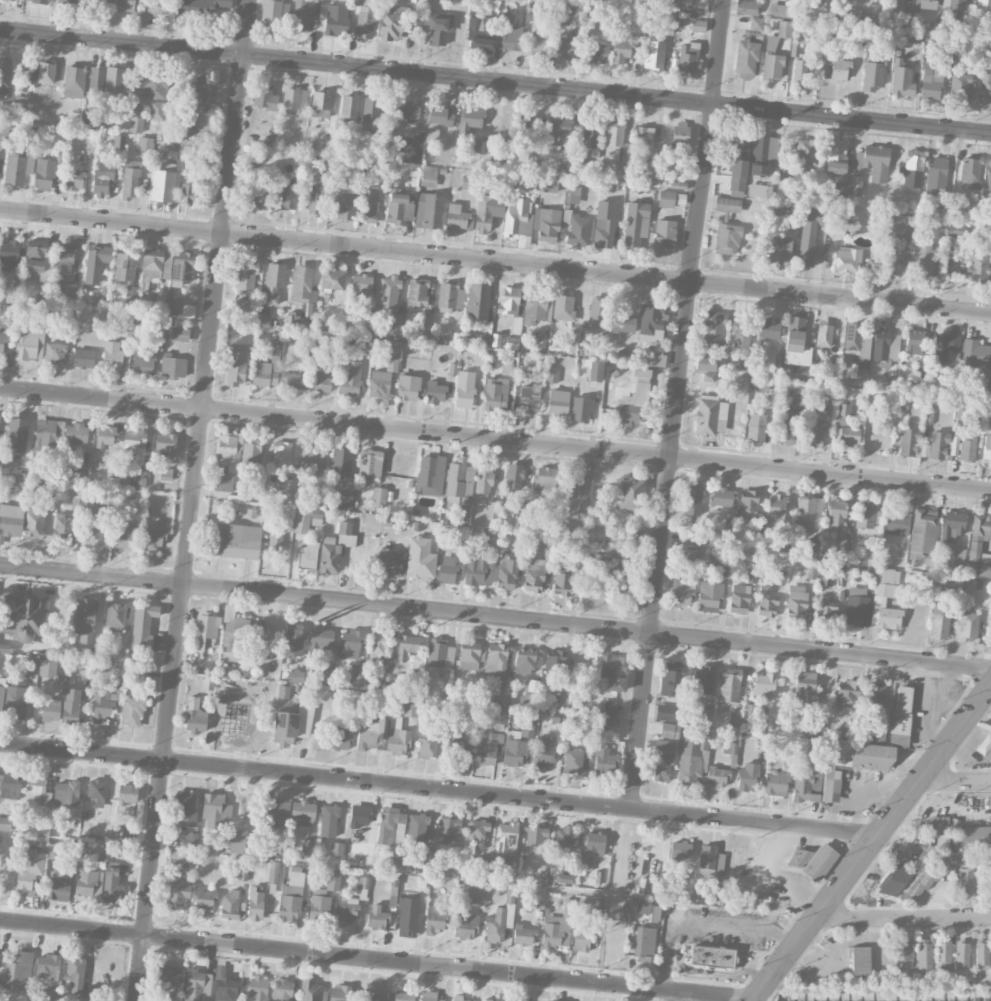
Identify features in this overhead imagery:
building: (13, 0)
building: (140, 0)
building: (37, 1)
building: (100, 1)
building: (670, 1)
building: (67, 2)
building: (984, 3)
building: (926, 4)
building: (125, 5)
building: (158, 6)
building: (204, 7)
building: (746, 7)
building: (778, 10)
building: (273, 12)
building: (951, 15)
building: (301, 16)
building: (904, 17)
building: (859, 18)
building: (365, 19)
building: (336, 20)
building: (667, 21)
building: (756, 23)
building: (698, 25)
building: (391, 26)
building: (438, 26)
building: (784, 29)
building: (480, 34)
building: (509, 34)
building: (856, 37)
building: (538, 44)
building: (566, 47)
building: (622, 49)
building: (597, 52)
building: (654, 53)
building: (688, 57)
building: (746, 59)
building: (772, 60)
building: (840, 69)
building: (799, 70)
building: (46, 73)
building: (872, 76)
building: (96, 79)
building: (114, 79)
building: (901, 79)
building: (931, 79)
building: (6, 80)
building: (74, 82)
road: (495, 82)
building: (959, 86)
building: (984, 86)
building: (154, 87)
building: (197, 96)
building: (264, 97)
building: (321, 104)
building: (349, 108)
building: (157, 110)
building: (407, 110)
building: (370, 113)
building: (471, 118)
building: (136, 119)
building: (438, 119)
building: (527, 123)
building: (557, 128)
building: (679, 135)
building: (591, 136)
building: (644, 136)
building: (613, 141)
building: (118, 142)
building: (145, 144)
building: (483, 152)
building: (763, 154)
building: (805, 154)
building: (835, 157)
building: (911, 160)
building: (876, 162)
building: (738, 164)
building: (936, 166)
building: (18, 168)
building: (970, 173)
building: (44, 174)
building: (988, 174)
building: (428, 176)
building: (73, 179)
building: (130, 179)
building: (102, 180)
building: (165, 184)
building: (856, 186)
building: (468, 187)
building: (759, 190)
building: (188, 194)
building: (838, 194)
building: (288, 195)
building: (670, 198)
building: (316, 199)
building: (253, 200)
building: (369, 203)
building: (727, 204)
building: (346, 206)
building: (400, 208)
building: (429, 210)
building: (487, 211)
building: (518, 217)
building: (457, 218)
building: (990, 218)
building: (635, 223)
building: (546, 224)
building: (841, 227)
building: (603, 229)
building: (957, 229)
building: (577, 231)
building: (664, 233)
building: (808, 234)
building: (900, 234)
building: (727, 239)
building: (524, 241)
building: (989, 244)
building: (779, 250)
building: (9, 253)
building: (35, 256)
building: (63, 259)
building: (846, 259)
building: (923, 259)
building: (95, 262)
road: (495, 262)
building: (889, 263)
building: (156, 265)
building: (182, 266)
building: (125, 268)
building: (977, 269)
building: (246, 275)
building: (332, 279)
building: (274, 282)
building: (301, 283)
building: (44, 284)
building: (360, 284)
building: (71, 290)
building: (388, 292)
building: (416, 295)
building: (450, 297)
building: (477, 301)
building: (509, 302)
building: (311, 303)
building: (171, 304)
building: (241, 305)
building: (563, 307)
building: (534, 308)
building: (597, 312)
building: (263, 318)
building: (425, 320)
building: (65, 321)
building: (651, 321)
building: (622, 322)
building: (395, 324)
building: (713, 328)
building: (768, 328)
building: (741, 332)
building: (180, 334)
building: (824, 334)
building: (475, 340)
building: (2, 342)
building: (541, 342)
building: (796, 342)
building: (914, 342)
building: (511, 343)
building: (29, 344)
building: (885, 344)
building: (858, 347)
building: (944, 347)
building: (55, 353)
building: (975, 354)
building: (624, 355)
building: (112, 356)
building: (83, 358)
building: (647, 358)
building: (143, 362)
building: (774, 362)
building: (705, 363)
building: (236, 364)
building: (172, 365)
building: (267, 367)
building: (507, 367)
building: (452, 369)
building: (595, 371)
building: (384, 373)
building: (796, 373)
building: (552, 375)
building: (707, 376)
building: (350, 379)
building: (293, 381)
building: (321, 381)
building: (408, 387)
building: (464, 389)
building: (435, 392)
building: (495, 392)
building: (529, 399)
building: (798, 399)
building: (633, 400)
building: (558, 401)
road: (678, 404)
building: (580, 409)
building: (843, 414)
building: (710, 415)
building: (756, 427)
building: (785, 427)
building: (17, 431)
building: (46, 434)
building: (74, 435)
building: (813, 435)
building: (105, 436)
building: (848, 436)
road: (495, 440)
building: (134, 442)
building: (908, 442)
building: (164, 444)
building: (938, 445)
building: (954, 445)
building: (967, 449)
building: (987, 449)
building: (251, 450)
building: (924, 450)
building: (312, 459)
building: (341, 460)
building: (370, 462)
building: (283, 466)
building: (81, 471)
building: (430, 475)
building: (514, 476)
building: (140, 478)
building: (124, 480)
building: (545, 480)
building: (483, 481)
building: (459, 484)
building: (574, 485)
building: (631, 493)
building: (378, 497)
building: (721, 497)
building: (317, 498)
building: (693, 499)
road: (194, 500)
building: (344, 501)
building: (747, 505)
building: (808, 512)
building: (491, 513)
building: (867, 514)
building: (836, 515)
building: (306, 520)
building: (10, 521)
building: (759, 522)
building: (34, 523)
building: (93, 523)
building: (896, 523)
building: (729, 526)
building: (952, 526)
building: (980, 527)
building: (62, 528)
building: (922, 532)
building: (345, 534)
building: (123, 536)
building: (153, 539)
building: (236, 540)
building: (489, 540)
building: (690, 540)
building: (275, 541)
building: (783, 546)
building: (975, 546)
building: (841, 547)
building: (809, 550)
building: (689, 555)
building: (329, 556)
building: (306, 557)
building: (420, 558)
building: (958, 558)
building: (391, 562)
building: (929, 564)
building: (983, 565)
building: (474, 567)
building: (447, 569)
building: (721, 571)
building: (811, 572)
building: (506, 573)
building: (779, 575)
building: (533, 576)
building: (751, 576)
building: (562, 580)
building: (952, 584)
building: (681, 592)
building: (624, 593)
building: (709, 596)
building: (739, 599)
building: (796, 601)
building: (765, 603)
building: (879, 603)
building: (857, 607)
building: (824, 610)
building: (115, 615)
road: (495, 617)
building: (24, 618)
building: (84, 619)
building: (939, 622)
building: (968, 626)
building: (142, 627)
building: (990, 629)
building: (205, 631)
building: (260, 631)
building: (235, 639)
building: (293, 639)
building: (321, 639)
building: (377, 643)
building: (349, 644)
building: (469, 644)
building: (407, 646)
building: (440, 654)
building: (468, 658)
building: (496, 659)
building: (554, 660)
building: (524, 661)
building: (27, 666)
building: (613, 671)
building: (295, 675)
building: (327, 675)
building: (356, 675)
building: (47, 676)
building: (671, 678)
building: (701, 679)
building: (415, 680)
building: (764, 687)
building: (729, 688)
building: (805, 688)
building: (283, 692)
building: (1, 693)
building: (502, 694)
building: (529, 694)
building: (847, 694)
building: (874, 694)
building: (562, 697)
building: (16, 698)
building: (71, 706)
building: (102, 706)
building: (410, 707)
building: (609, 707)
building: (50, 709)
building: (749, 711)
building: (132, 712)
building: (668, 712)
building: (195, 716)
building: (901, 716)
building: (499, 717)
building: (734, 718)
building: (292, 725)
building: (608, 729)
building: (670, 730)
building: (370, 734)
building: (339, 739)
building: (397, 740)
building: (519, 740)
building: (428, 741)
building: (456, 746)
building: (487, 746)
building: (729, 747)
building: (985, 747)
building: (809, 748)
building: (542, 752)
building: (691, 758)
building: (663, 760)
building: (573, 761)
building: (605, 761)
building: (851, 763)
building: (717, 776)
building: (747, 777)
road: (955, 781)
building: (776, 784)
building: (11, 786)
building: (806, 786)
building: (96, 789)
road: (439, 789)
building: (37, 792)
building: (66, 793)
building: (127, 794)
building: (185, 807)
building: (215, 809)
building: (277, 813)
building: (302, 813)
building: (359, 815)
building: (328, 820)
building: (5, 823)
building: (937, 824)
building: (391, 826)
building: (417, 827)
building: (448, 830)
building: (115, 832)
building: (478, 833)
building: (535, 836)
building: (506, 837)
building: (565, 837)
building: (973, 837)
building: (191, 840)
building: (238, 841)
building: (594, 843)
road: (871, 844)
building: (307, 848)
building: (336, 848)
building: (679, 850)
building: (53, 851)
building: (396, 854)
building: (707, 859)
building: (180, 860)
building: (585, 861)
building: (812, 862)
building: (511, 867)
building: (28, 869)
building: (273, 872)
road: (774, 876)
building: (911, 879)
building: (965, 879)
building: (333, 881)
building: (362, 882)
building: (88, 883)
building: (112, 883)
building: (57, 887)
building: (476, 893)
building: (177, 894)
building: (291, 895)
building: (393, 897)
building: (204, 898)
building: (255, 903)
building: (229, 905)
building: (319, 907)
building: (241, 909)
building: (347, 910)
building: (649, 911)
building: (376, 917)
building: (407, 917)
building: (434, 918)
road: (903, 918)
building: (500, 919)
road: (704, 925)
building: (465, 926)
building: (557, 929)
building: (523, 935)
building: (581, 940)
building: (644, 944)
building: (903, 954)
building: (962, 954)
building: (923, 955)
building: (982, 955)
building: (711, 957)
building: (943, 957)
road: (377, 959)
building: (860, 961)
building: (47, 966)
building: (19, 971)
road: (716, 972)
building: (75, 974)
building: (169, 975)
building: (197, 985)
building: (225, 986)
building: (256, 989)
building: (281, 990)
building: (311, 991)
building: (339, 993)
building: (368, 994)
building: (400, 996)
building: (428, 996)
building: (79, 999)
building: (460, 999)
building: (488, 1000)

